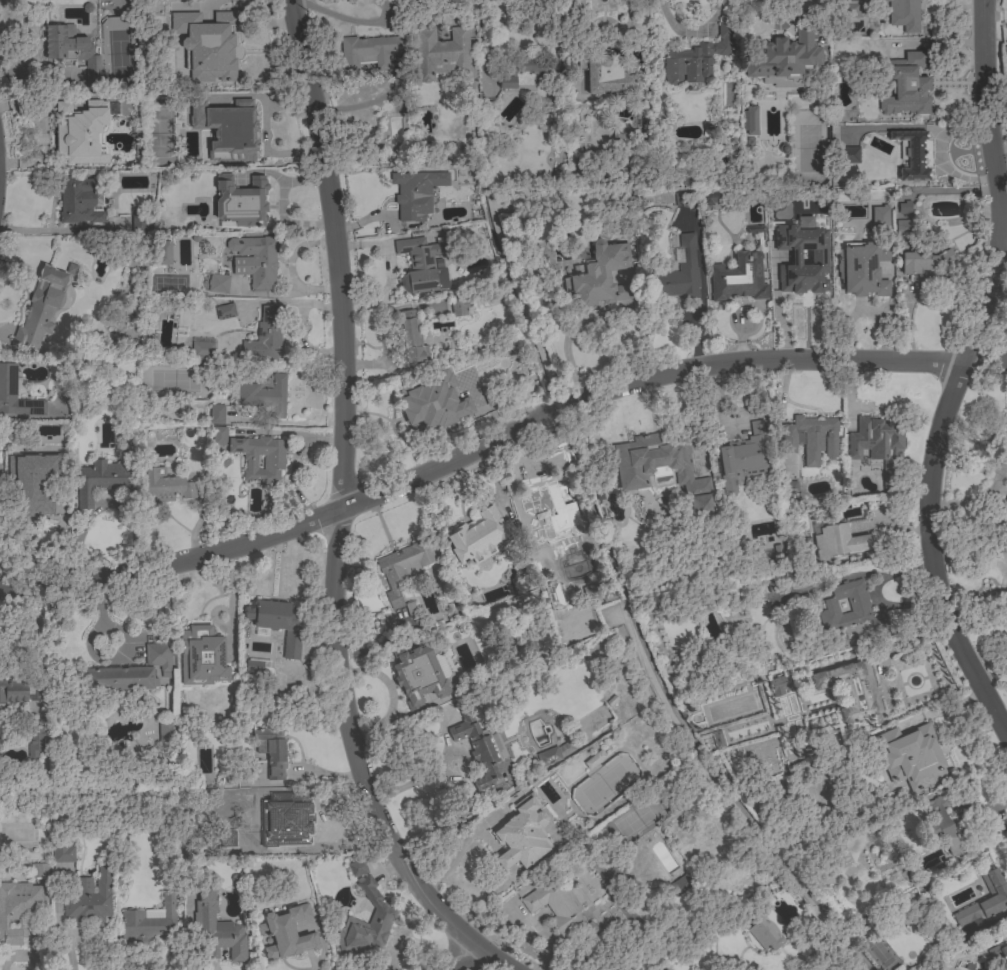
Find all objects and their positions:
building: (851, 8)
building: (904, 14)
building: (206, 44)
building: (72, 50)
building: (367, 51)
building: (441, 54)
building: (697, 57)
building: (784, 60)
building: (606, 75)
building: (506, 77)
building: (516, 84)
building: (906, 86)
building: (749, 120)
building: (226, 129)
building: (80, 132)
building: (625, 134)
building: (847, 155)
building: (911, 155)
building: (416, 193)
building: (793, 196)
building: (691, 198)
building: (241, 201)
building: (77, 202)
building: (904, 209)
building: (879, 217)
building: (821, 218)
building: (138, 225)
building: (903, 227)
building: (163, 253)
building: (255, 260)
building: (924, 260)
building: (420, 264)
building: (862, 268)
building: (679, 273)
building: (600, 276)
building: (738, 278)
building: (797, 280)
building: (218, 284)
building: (458, 306)
building: (40, 308)
building: (224, 311)
building: (265, 335)
building: (411, 337)
building: (201, 350)
road: (958, 373)
building: (15, 395)
building: (265, 395)
building: (437, 406)
building: (216, 414)
building: (219, 436)
building: (810, 437)
road: (498, 439)
building: (878, 446)
building: (744, 457)
building: (273, 462)
building: (631, 473)
building: (103, 478)
building: (165, 485)
building: (542, 500)
building: (49, 502)
road: (346, 514)
building: (478, 536)
building: (838, 541)
building: (1001, 543)
building: (777, 551)
building: (542, 552)
building: (404, 567)
road: (852, 575)
building: (775, 585)
building: (590, 591)
road: (892, 606)
building: (849, 608)
building: (410, 609)
building: (278, 624)
building: (201, 656)
building: (253, 666)
building: (130, 672)
building: (418, 675)
building: (778, 685)
building: (846, 690)
building: (19, 691)
road: (390, 693)
building: (165, 732)
building: (36, 738)
building: (717, 739)
building: (478, 747)
building: (271, 751)
building: (553, 754)
building: (908, 756)
building: (594, 759)
road: (438, 769)
building: (942, 822)
building: (292, 823)
building: (521, 834)
building: (232, 837)
building: (62, 850)
building: (357, 868)
building: (39, 870)
building: (907, 875)
building: (681, 880)
building: (682, 886)
building: (88, 898)
building: (985, 900)
building: (557, 904)
building: (18, 910)
building: (366, 922)
building: (150, 923)
building: (215, 929)
building: (763, 932)
building: (286, 933)
building: (1006, 933)
building: (998, 953)
road: (455, 959)
building: (665, 969)

